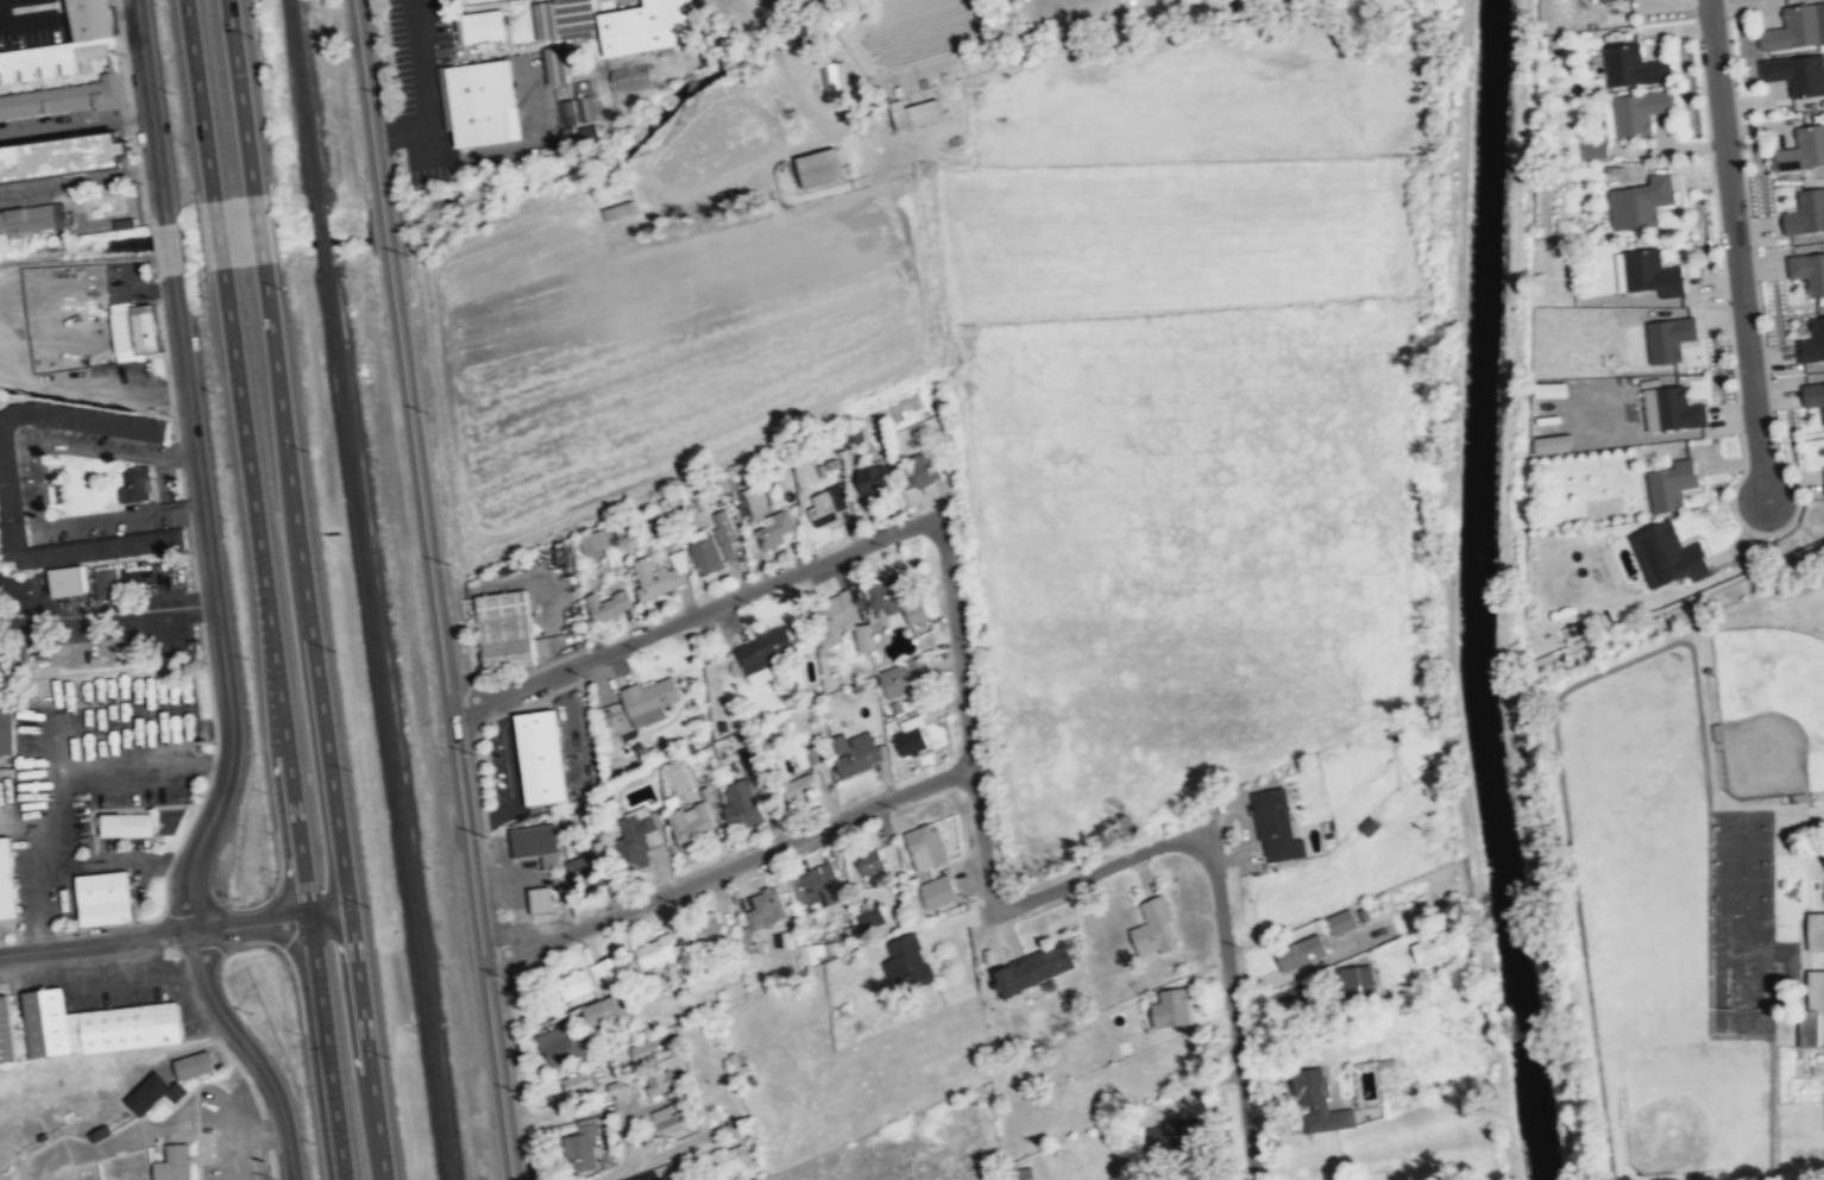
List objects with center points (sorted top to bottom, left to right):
building: (1595, 0)
building: (1608, 0)
road: (68, 14)
building: (562, 17)
building: (648, 25)
building: (480, 26)
building: (1795, 30)
building: (58, 54)
building: (558, 63)
building: (1631, 68)
building: (1797, 74)
building: (631, 76)
building: (836, 79)
railway: (304, 94)
road: (367, 95)
road: (426, 95)
road: (240, 96)
road: (199, 99)
building: (480, 102)
building: (586, 107)
road: (151, 111)
building: (567, 111)
building: (916, 112)
building: (1636, 113)
road: (75, 119)
building: (1591, 150)
building: (1801, 151)
building: (65, 156)
building: (820, 167)
road: (80, 187)
building: (1639, 203)
building: (619, 209)
building: (1806, 214)
building: (34, 218)
road: (384, 221)
road: (258, 227)
railway: (322, 230)
road: (218, 232)
road: (169, 247)
road: (1736, 249)
building: (1809, 272)
building: (1650, 274)
building: (136, 329)
building: (1668, 339)
building: (1812, 343)
building: (1547, 389)
building: (1813, 396)
building: (906, 407)
building: (1677, 408)
building: (87, 419)
building: (1547, 444)
building: (919, 470)
building: (874, 478)
building: (1823, 478)
road: (38, 483)
building: (137, 484)
building: (1672, 484)
building: (748, 502)
building: (826, 507)
building: (12, 514)
building: (771, 531)
building: (724, 533)
building: (592, 539)
building: (704, 551)
building: (1665, 556)
building: (660, 573)
building: (70, 580)
building: (107, 583)
road: (304, 588)
building: (893, 598)
road: (216, 604)
building: (608, 604)
road: (103, 610)
road: (694, 613)
building: (838, 621)
building: (505, 628)
building: (763, 652)
building: (895, 679)
building: (649, 697)
park: (1770, 708)
road: (451, 714)
road: (283, 723)
railway: (389, 726)
building: (7, 729)
building: (910, 735)
building: (855, 753)
building: (541, 755)
building: (811, 755)
building: (797, 786)
building: (743, 804)
building: (578, 818)
building: (126, 824)
building: (691, 824)
building: (1275, 824)
park: (1742, 827)
building: (635, 840)
building: (536, 842)
building: (925, 845)
park: (1742, 861)
road: (728, 865)
building: (870, 865)
building: (587, 867)
road: (1076, 878)
building: (8, 880)
road: (512, 887)
building: (813, 887)
building: (937, 890)
park: (1742, 897)
building: (107, 898)
building: (540, 898)
building: (765, 909)
building: (1341, 919)
road: (272, 922)
building: (1155, 927)
building: (705, 930)
building: (1814, 930)
road: (98, 942)
building: (1424, 946)
building: (656, 950)
building: (1301, 950)
building: (906, 964)
building: (1033, 967)
building: (606, 969)
building: (1353, 978)
building: (575, 983)
building: (1170, 1008)
building: (605, 1010)
building: (98, 1024)
building: (1810, 1027)
building: (7, 1030)
building: (562, 1044)
road: (367, 1046)
building: (646, 1050)
road: (251, 1053)
building: (195, 1063)
building: (573, 1081)
building: (655, 1081)
building: (672, 1090)
building: (155, 1092)
building: (1316, 1104)
building: (667, 1118)
building: (1175, 1131)
building: (579, 1147)
building: (729, 1156)
building: (175, 1162)
building: (1018, 1173)

